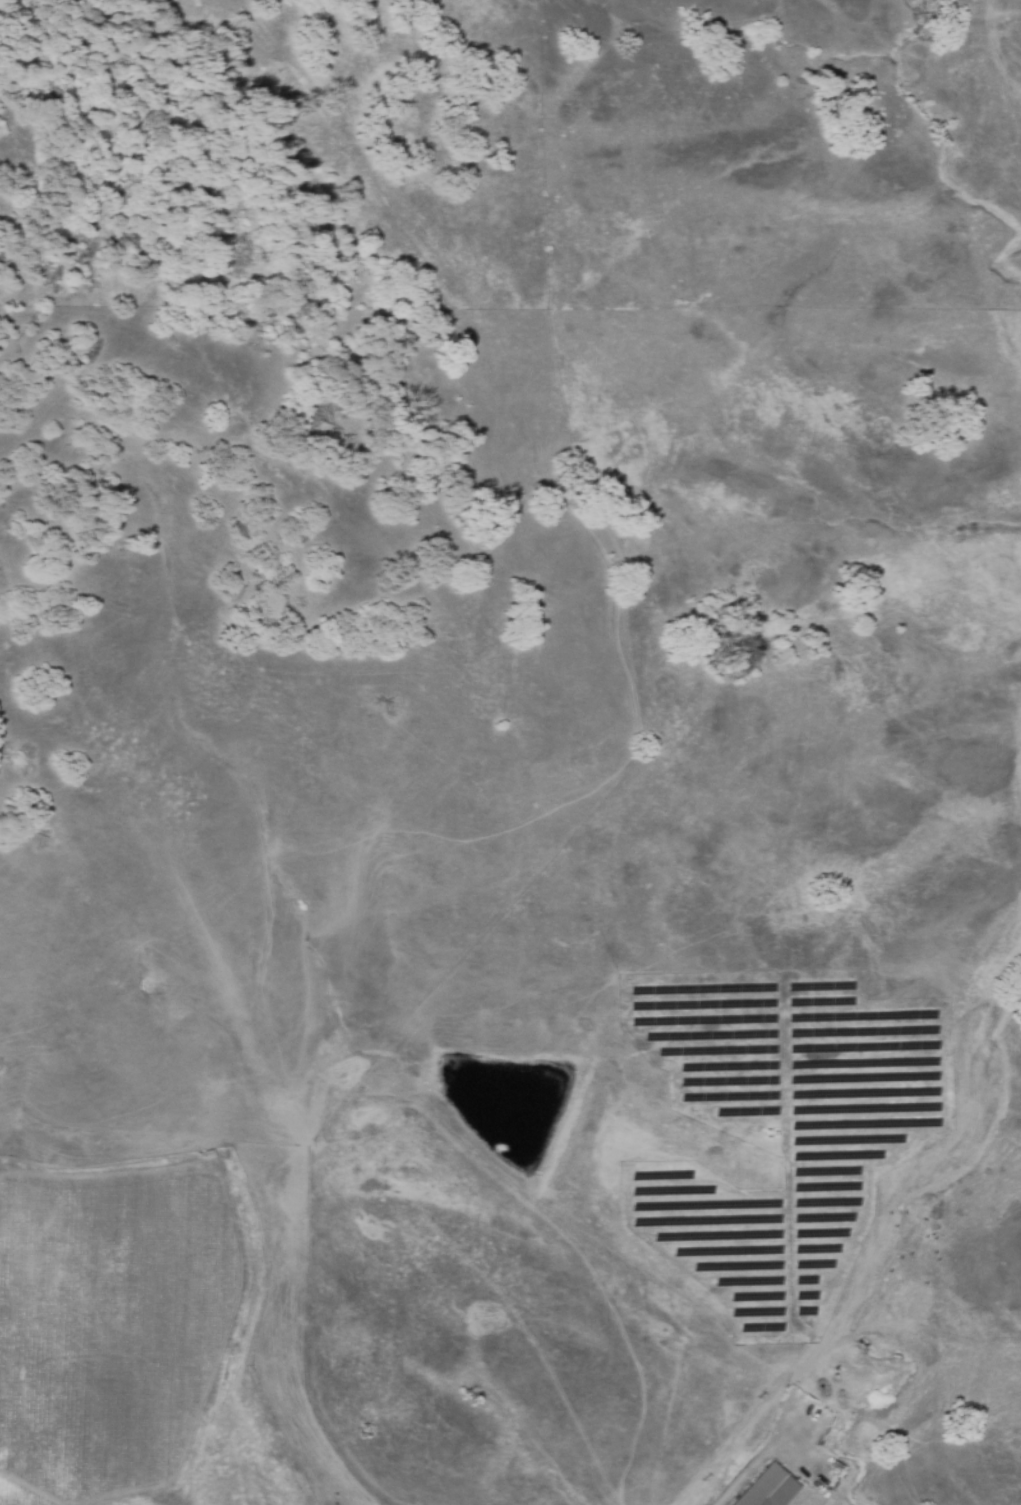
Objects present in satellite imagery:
road: (757, 1462)
building: (770, 1489)

